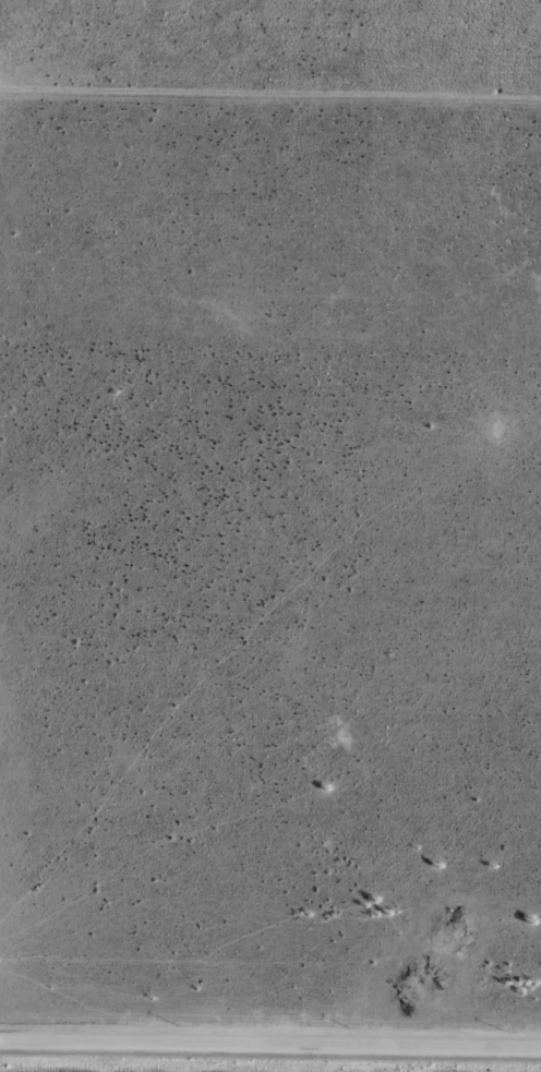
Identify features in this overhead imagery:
road: (269, 1047)

